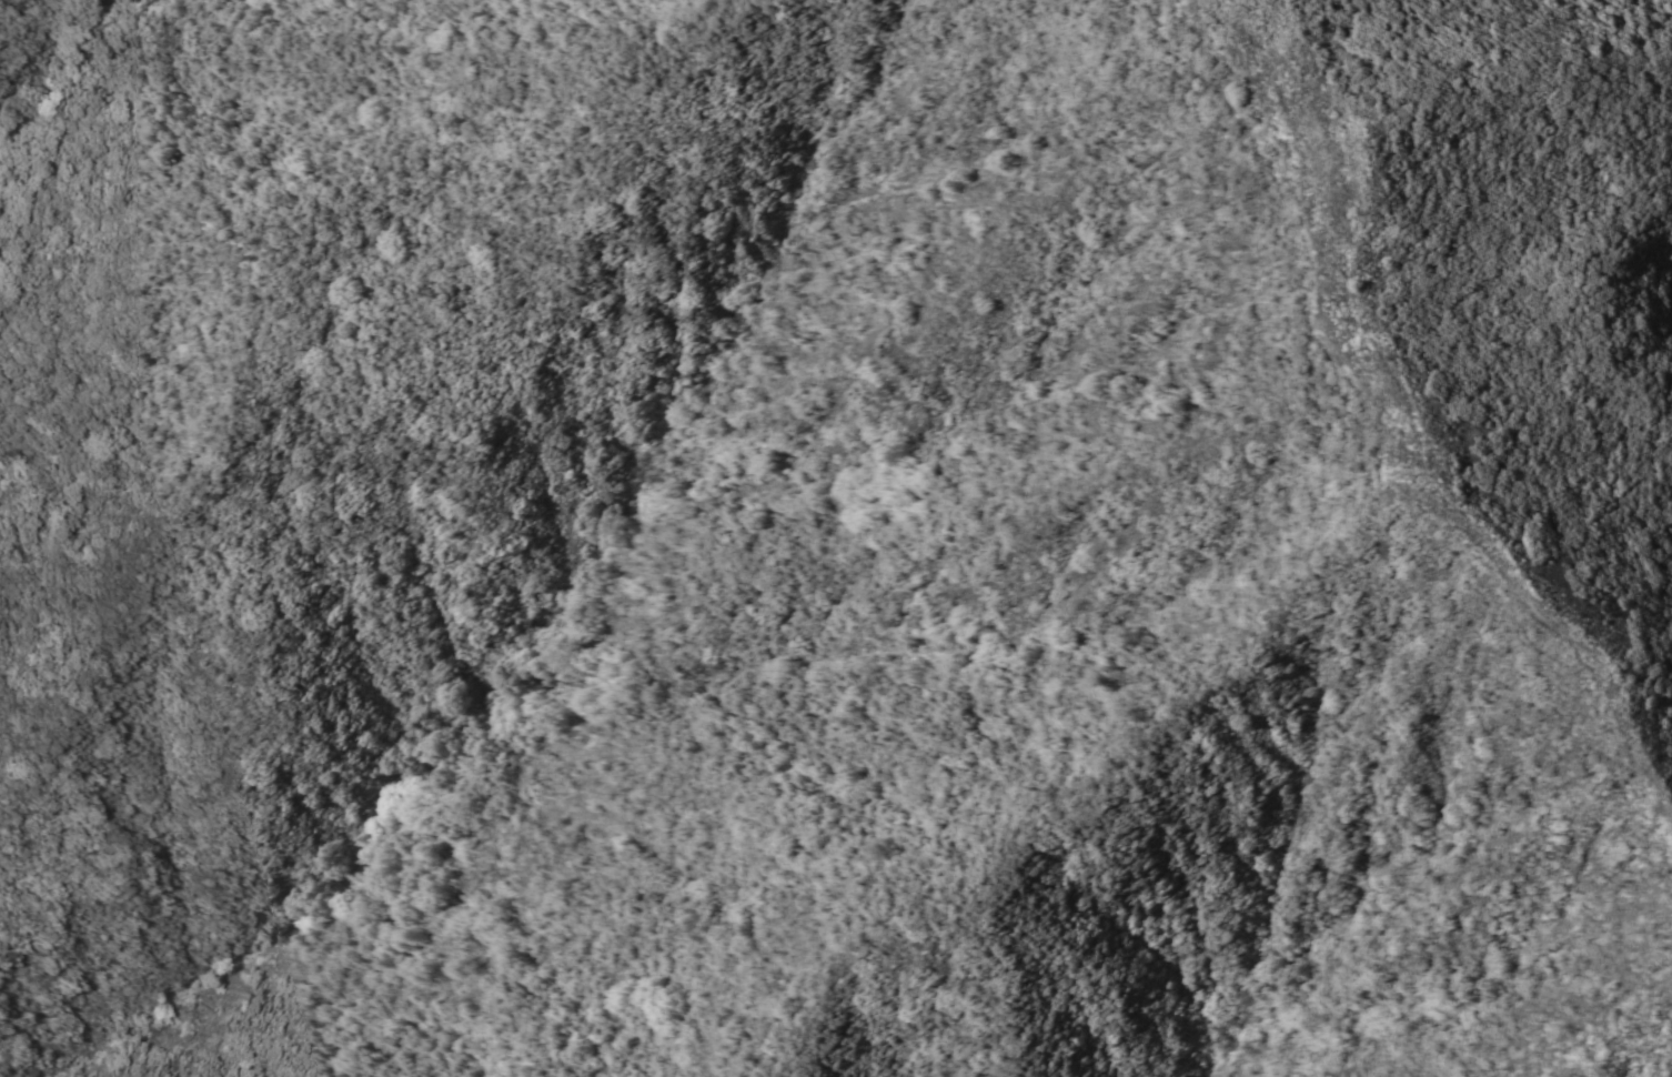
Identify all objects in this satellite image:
road: (1392, 427)

